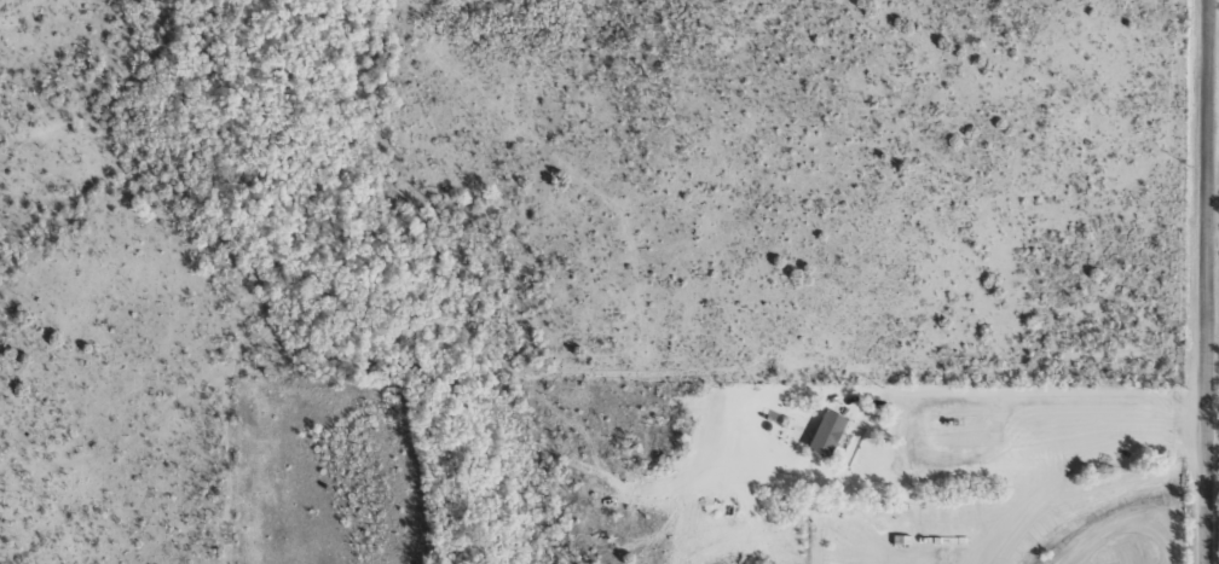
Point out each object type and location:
road: (1212, 242)
road: (1204, 281)
building: (831, 430)
building: (905, 539)

